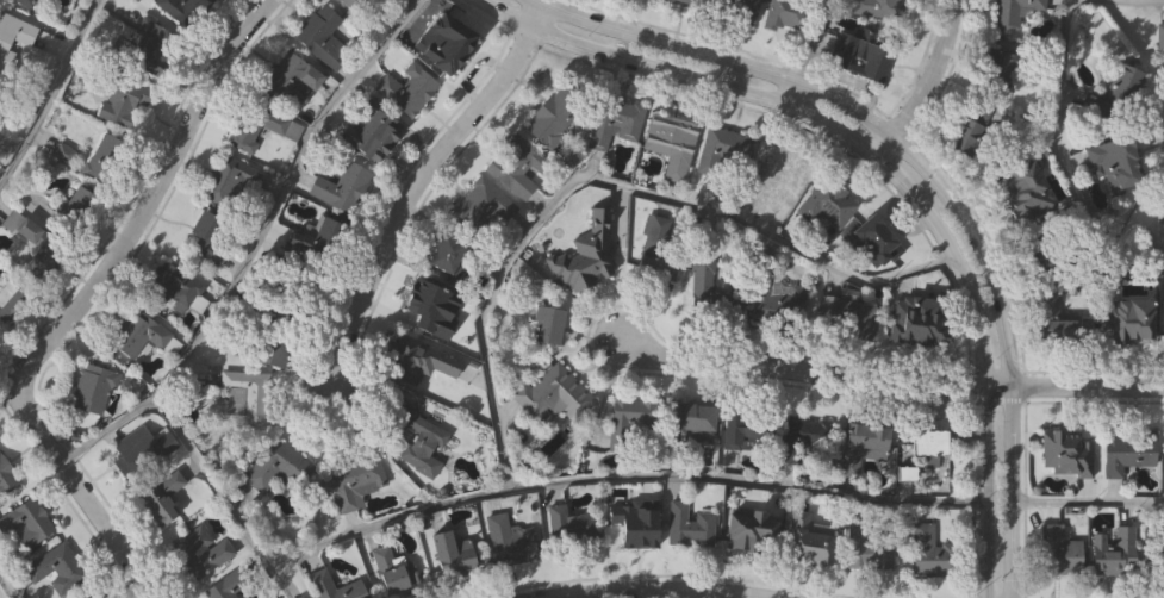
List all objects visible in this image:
building: (20, 1)
road: (1135, 1)
building: (169, 5)
building: (726, 7)
building: (876, 8)
building: (1009, 12)
building: (785, 13)
building: (14, 31)
building: (319, 36)
building: (1159, 37)
building: (149, 46)
building: (443, 48)
road: (807, 52)
building: (857, 52)
road: (716, 56)
building: (995, 69)
road: (678, 73)
building: (290, 75)
road: (921, 85)
building: (405, 88)
road: (51, 89)
building: (1118, 93)
building: (116, 102)
building: (553, 111)
building: (614, 120)
building: (254, 124)
building: (964, 135)
building: (371, 136)
building: (670, 141)
building: (723, 152)
building: (102, 160)
building: (1114, 161)
road: (1064, 162)
building: (516, 164)
building: (774, 170)
road: (416, 179)
building: (228, 180)
building: (340, 186)
road: (606, 186)
building: (1023, 192)
building: (74, 200)
building: (828, 204)
building: (479, 206)
building: (1160, 207)
building: (21, 228)
building: (204, 236)
building: (874, 239)
road: (260, 249)
building: (446, 253)
building: (1035, 253)
building: (583, 264)
building: (653, 269)
building: (701, 278)
building: (170, 286)
building: (777, 297)
building: (8, 299)
road: (81, 304)
building: (1048, 314)
building: (436, 317)
building: (916, 317)
building: (1118, 317)
building: (855, 320)
building: (544, 324)
building: (138, 334)
road: (1002, 349)
building: (413, 359)
road: (982, 361)
road: (891, 384)
building: (92, 388)
building: (552, 393)
building: (247, 394)
building: (630, 421)
building: (686, 422)
building: (746, 431)
building: (803, 437)
building: (861, 438)
building: (417, 441)
building: (927, 444)
building: (1125, 449)
building: (138, 450)
building: (1059, 450)
building: (275, 465)
building: (6, 476)
building: (354, 481)
road: (516, 486)
building: (160, 496)
road: (1087, 503)
building: (25, 522)
building: (629, 523)
building: (686, 525)
building: (573, 531)
building: (745, 534)
building: (803, 537)
building: (509, 540)
building: (864, 547)
building: (199, 550)
building: (1057, 550)
building: (929, 552)
building: (1112, 552)
building: (1153, 552)
building: (447, 554)
building: (54, 565)
building: (388, 569)
building: (319, 583)
building: (224, 585)
road: (7, 586)
road: (652, 586)
building: (89, 593)

